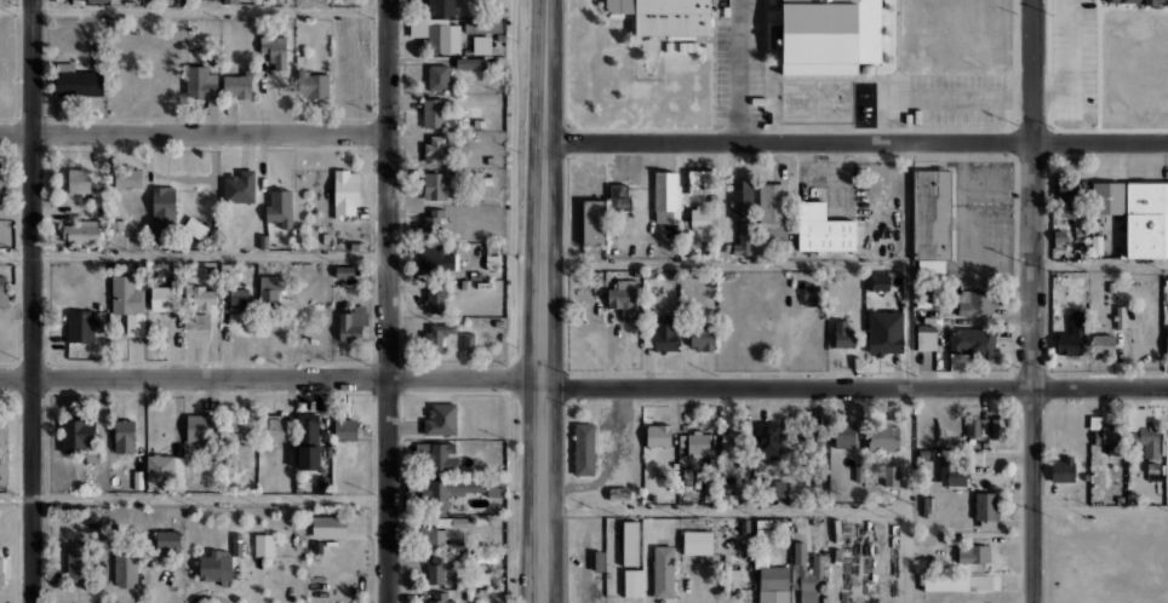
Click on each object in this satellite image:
building: (230, 1)
building: (1139, 1)
building: (441, 7)
road: (194, 8)
building: (665, 16)
building: (437, 34)
building: (829, 35)
building: (274, 48)
parking lot: (1073, 57)
building: (469, 62)
road: (1071, 65)
road: (738, 69)
building: (437, 77)
building: (78, 81)
building: (201, 82)
building: (236, 85)
building: (313, 85)
parking lot: (957, 98)
building: (434, 113)
road: (194, 132)
road: (857, 139)
building: (436, 149)
building: (128, 177)
building: (79, 179)
building: (702, 182)
building: (1, 185)
building: (437, 185)
building: (239, 186)
building: (345, 193)
building: (664, 194)
building: (618, 196)
building: (1107, 197)
building: (1073, 203)
building: (280, 207)
building: (742, 211)
building: (772, 212)
building: (161, 214)
building: (434, 219)
building: (700, 219)
building: (931, 220)
building: (1146, 220)
building: (594, 222)
building: (195, 226)
building: (823, 229)
building: (82, 231)
road: (194, 254)
building: (494, 257)
building: (436, 258)
road: (1100, 263)
road: (726, 264)
building: (637, 272)
building: (877, 281)
building: (270, 289)
building: (2, 291)
building: (808, 294)
building: (201, 295)
building: (239, 295)
building: (166, 297)
building: (624, 297)
building: (434, 298)
road: (543, 300)
road: (33, 301)
road: (389, 301)
road: (1034, 301)
building: (128, 303)
building: (974, 303)
building: (1118, 316)
building: (197, 322)
building: (353, 323)
building: (80, 326)
building: (884, 332)
building: (843, 334)
building: (1071, 334)
building: (437, 335)
building: (662, 335)
building: (702, 337)
building: (926, 337)
building: (1167, 339)
building: (469, 341)
building: (1104, 344)
building: (971, 348)
road: (910, 372)
road: (583, 386)
building: (441, 419)
building: (308, 425)
building: (972, 426)
building: (997, 426)
building: (201, 427)
building: (274, 427)
building: (345, 429)
building: (233, 431)
building: (806, 432)
building: (658, 435)
building: (1109, 435)
building: (76, 436)
building: (124, 436)
building: (844, 436)
building: (882, 438)
building: (1146, 438)
building: (768, 441)
building: (697, 443)
building: (733, 444)
building: (583, 448)
building: (4, 453)
building: (442, 456)
building: (309, 458)
building: (1063, 469)
building: (165, 472)
building: (859, 472)
building: (891, 475)
building: (947, 475)
building: (709, 481)
building: (322, 484)
building: (496, 487)
building: (779, 488)
building: (451, 490)
building: (619, 493)
road: (194, 496)
building: (708, 496)
building: (727, 499)
building: (986, 505)
road: (725, 510)
road: (1101, 511)
building: (452, 522)
building: (744, 524)
building: (328, 526)
building: (762, 530)
building: (437, 536)
building: (167, 541)
building: (697, 541)
building: (630, 542)
building: (236, 544)
building: (263, 545)
building: (973, 553)
building: (599, 561)
building: (74, 562)
building: (214, 567)
building: (440, 567)
building: (125, 569)
building: (663, 570)
building: (800, 570)
building: (1, 573)
building: (732, 579)
building: (772, 580)
building: (632, 582)
building: (945, 582)
building: (440, 597)

